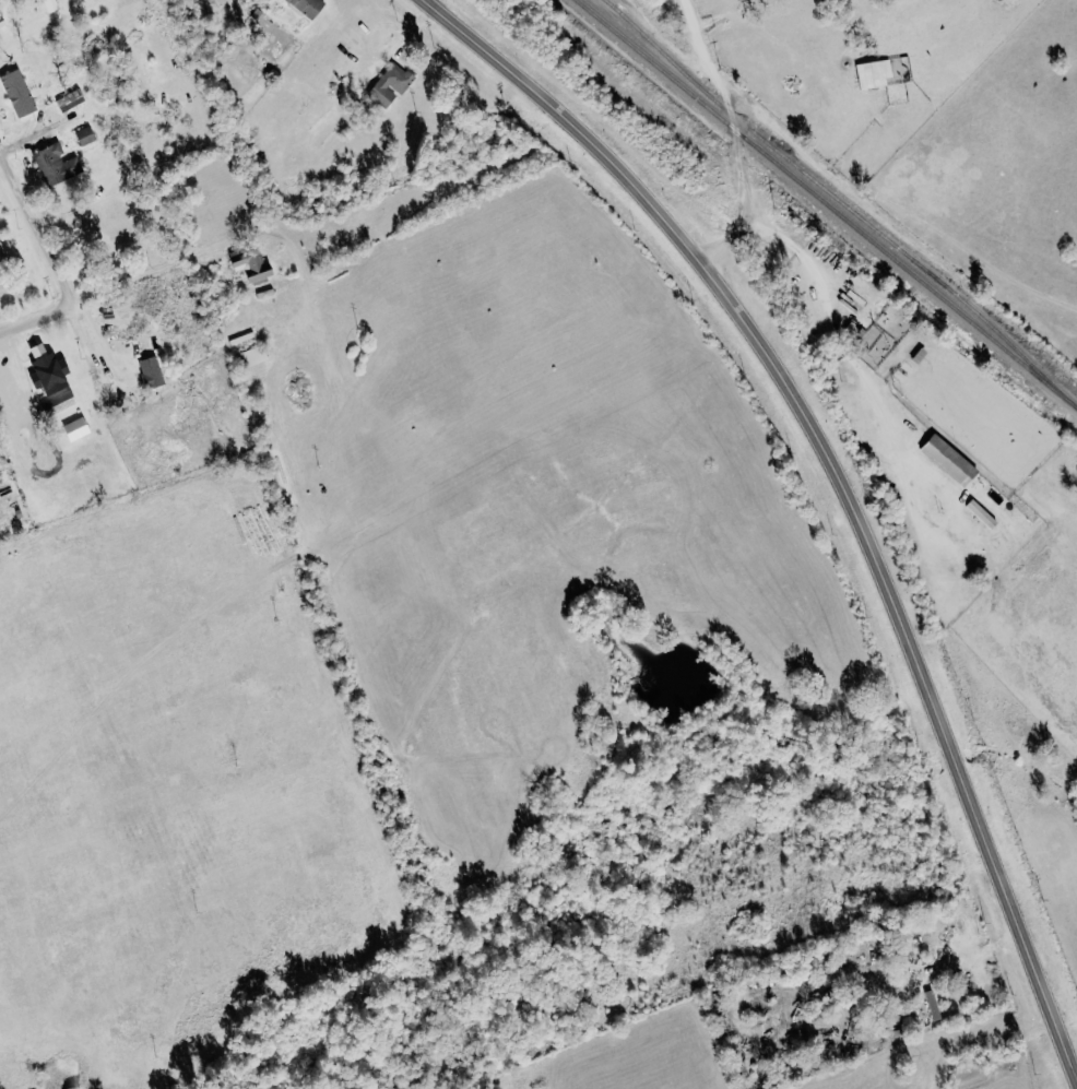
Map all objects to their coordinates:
building: (309, 7)
building: (1, 22)
building: (875, 72)
building: (392, 83)
building: (19, 92)
building: (71, 99)
building: (86, 135)
road: (734, 137)
road: (0, 156)
building: (57, 164)
railway: (828, 190)
railway: (827, 202)
road: (37, 229)
building: (253, 267)
road: (144, 280)
road: (38, 319)
road: (92, 341)
building: (253, 356)
building: (48, 369)
building: (152, 371)
building: (60, 403)
building: (78, 428)
building: (950, 459)
road: (839, 482)
building: (977, 486)
building: (983, 513)
building: (935, 1004)

